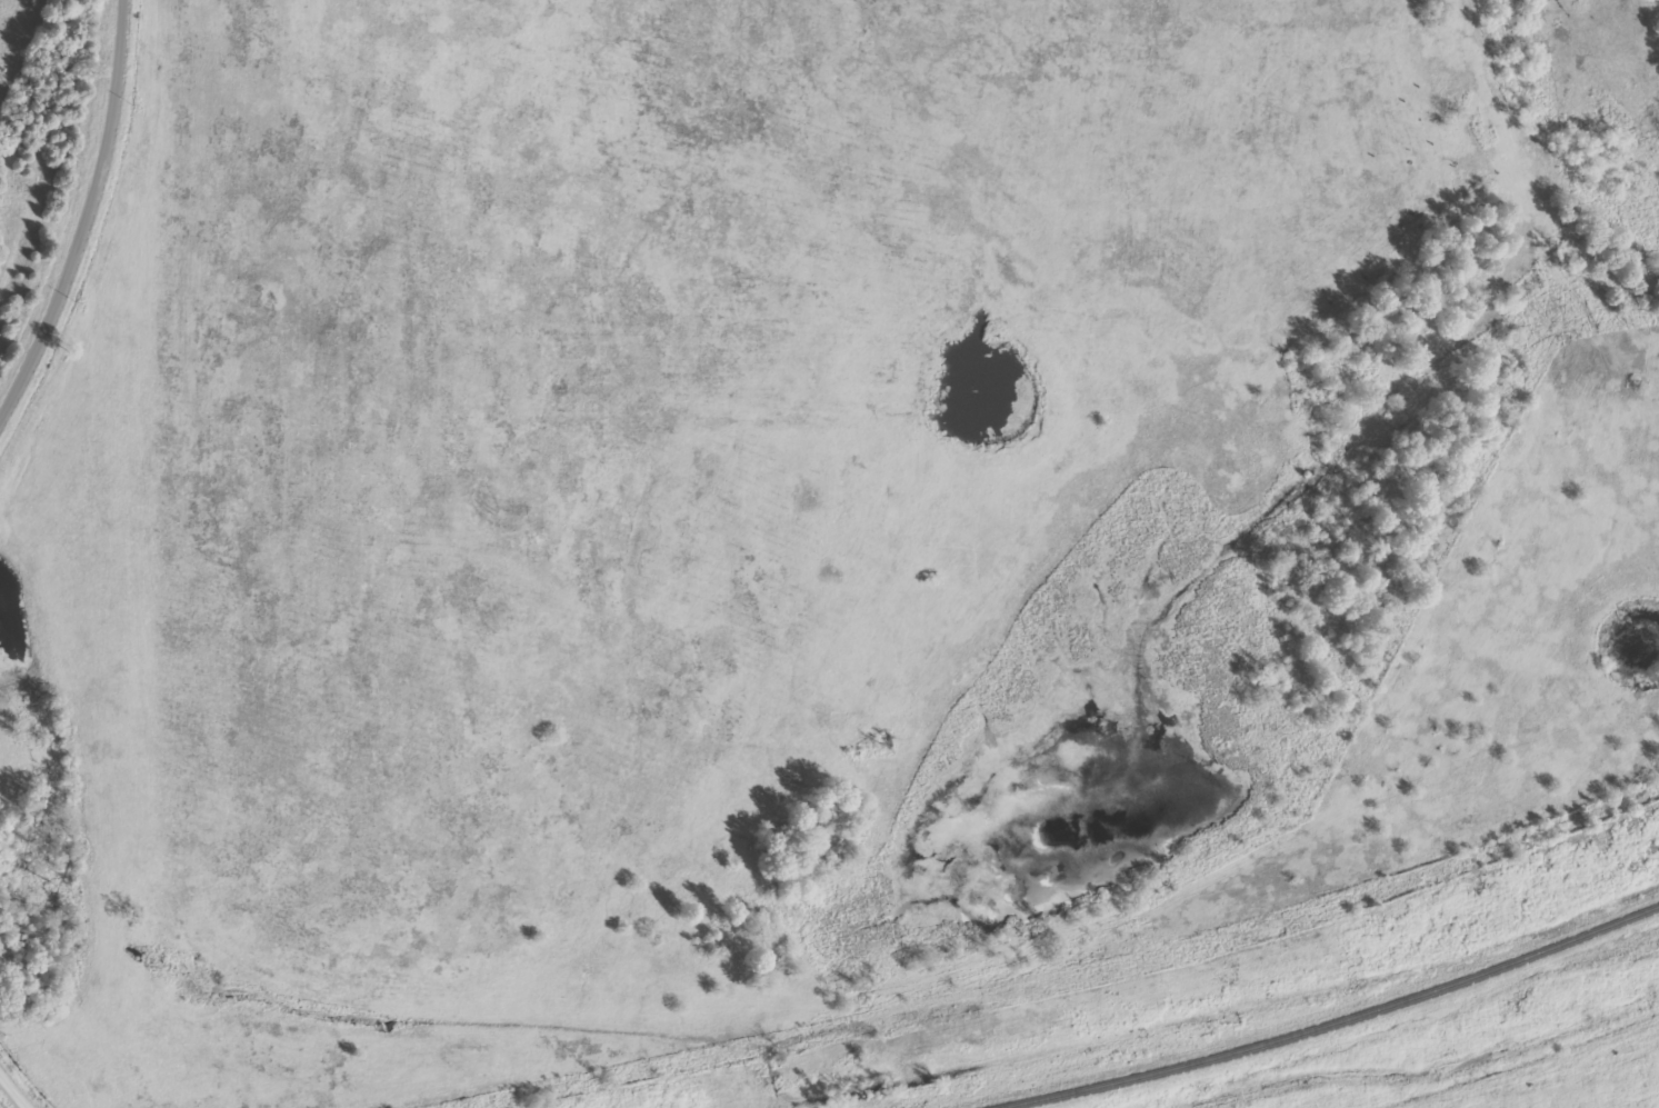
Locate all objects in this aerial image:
road: (93, 214)
railway: (1337, 1022)
road: (14, 1089)

